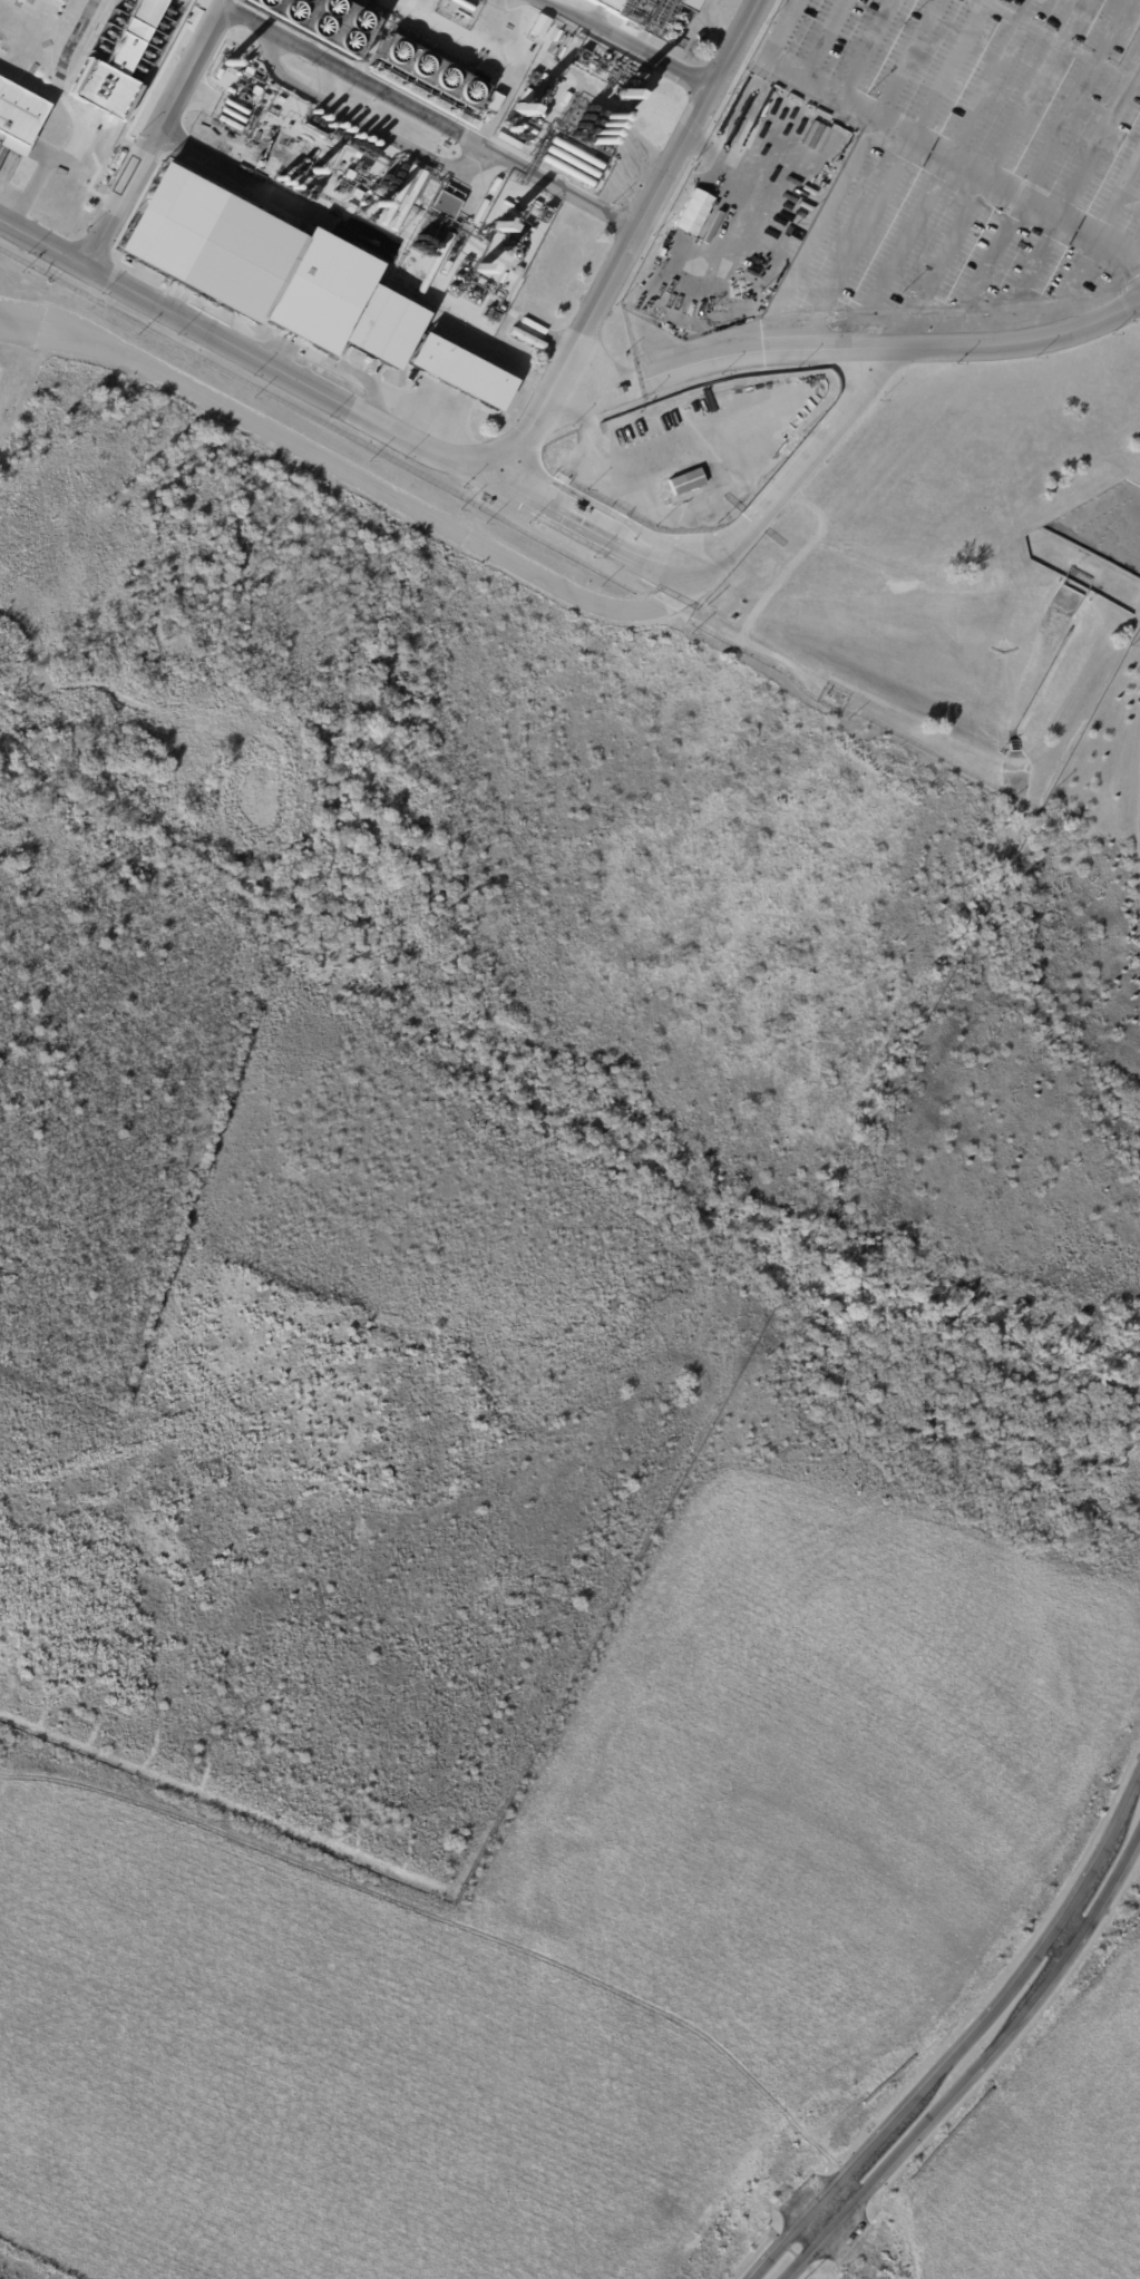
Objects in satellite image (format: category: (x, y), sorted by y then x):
building: (61, 0)
building: (666, 3)
building: (607, 4)
building: (686, 4)
road: (1071, 21)
road: (246, 26)
building: (540, 26)
road: (626, 42)
road: (868, 49)
building: (118, 65)
road: (1044, 70)
building: (525, 96)
road: (849, 104)
building: (19, 117)
road: (364, 128)
road: (154, 133)
road: (455, 136)
building: (260, 159)
building: (119, 160)
road: (848, 173)
road: (1081, 174)
road: (1128, 174)
building: (352, 176)
building: (450, 206)
road: (649, 206)
building: (351, 208)
building: (692, 212)
road: (1070, 224)
building: (220, 249)
road: (1137, 259)
road: (1083, 261)
road: (945, 263)
road: (893, 269)
building: (519, 272)
building: (282, 314)
building: (306, 322)
building: (383, 323)
road: (65, 335)
building: (458, 371)
road: (544, 418)
road: (650, 457)
building: (686, 483)
building: (631, 507)
road: (585, 528)
road: (536, 575)
road: (967, 2056)
park: (306, 2086)

